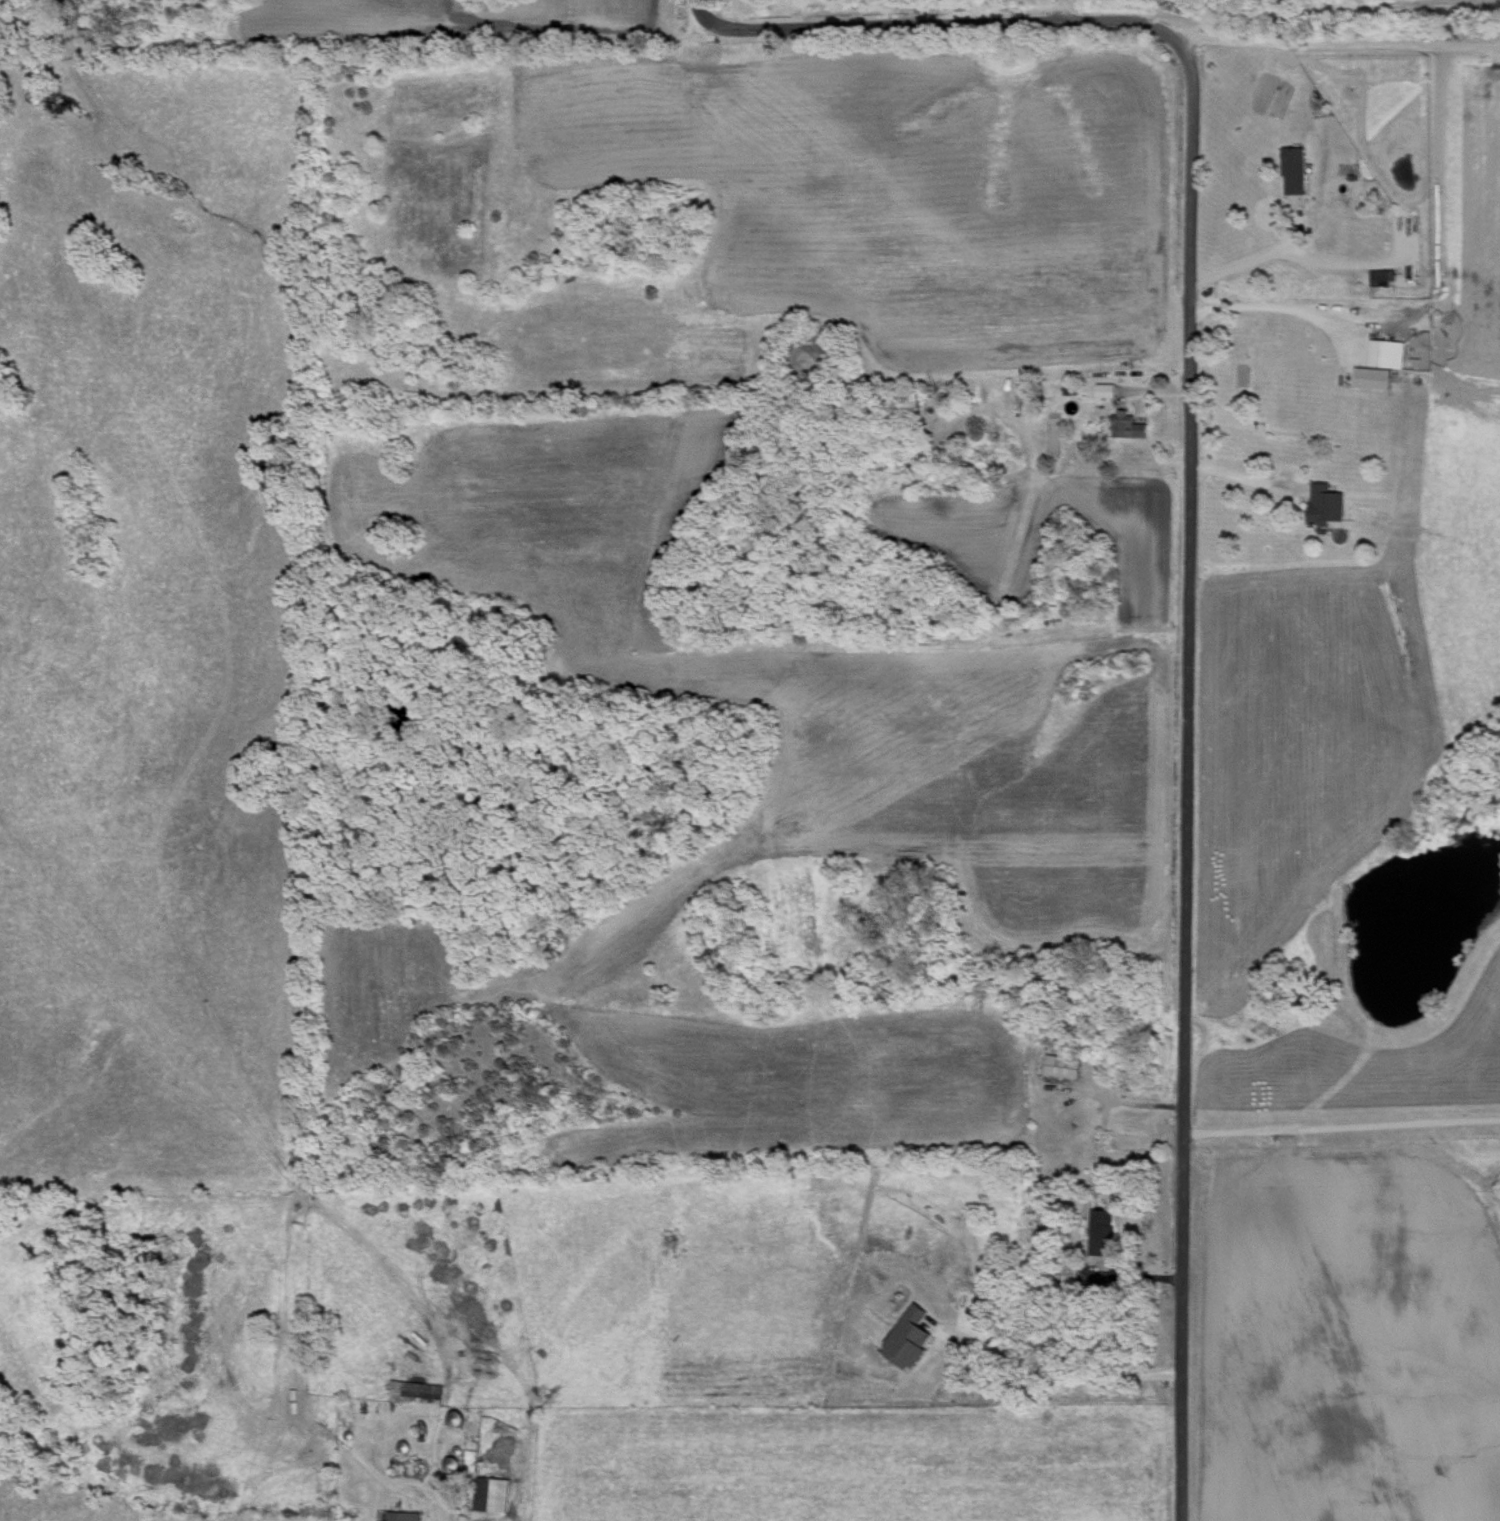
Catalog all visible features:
road: (1058, 9)
road: (1272, 11)
road: (729, 14)
road: (1340, 45)
building: (1293, 168)
road: (1243, 265)
road: (1276, 304)
building: (1379, 362)
building: (1106, 388)
building: (1131, 426)
road: (1248, 478)
building: (1325, 502)
road: (1188, 524)
building: (1059, 1064)
road: (1125, 1099)
road: (1341, 1126)
building: (1100, 1230)
building: (1064, 1276)
building: (402, 1466)
building: (488, 1493)
building: (395, 1515)

